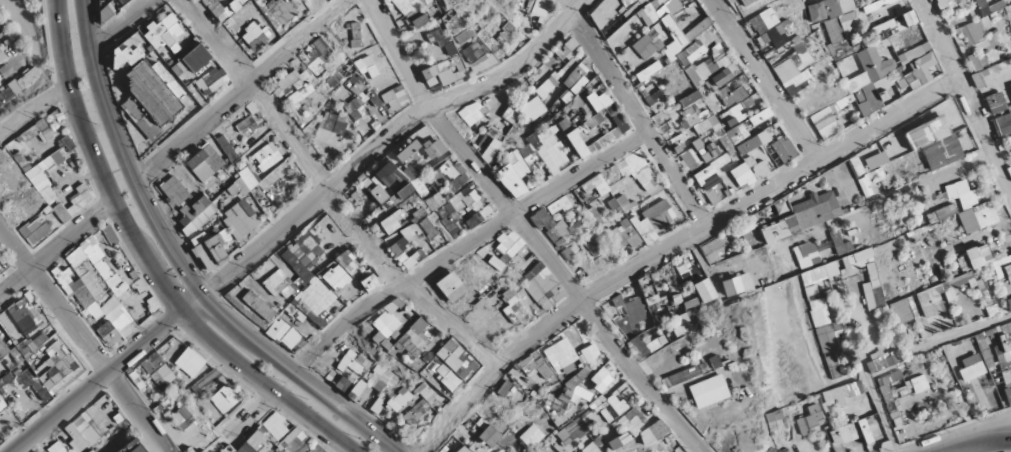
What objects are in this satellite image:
building: (217, 4)
building: (538, 12)
building: (769, 12)
road: (116, 23)
road: (34, 34)
road: (758, 78)
building: (738, 87)
road: (239, 90)
road: (963, 97)
building: (159, 101)
road: (33, 106)
road: (629, 111)
building: (266, 157)
building: (868, 163)
building: (718, 167)
building: (235, 189)
road: (320, 194)
road: (926, 195)
road: (286, 217)
building: (560, 229)
road: (523, 232)
road: (460, 243)
road: (669, 243)
road: (56, 248)
road: (148, 261)
road: (179, 264)
building: (693, 282)
road: (959, 329)
road: (859, 371)
road: (253, 414)
road: (977, 445)

